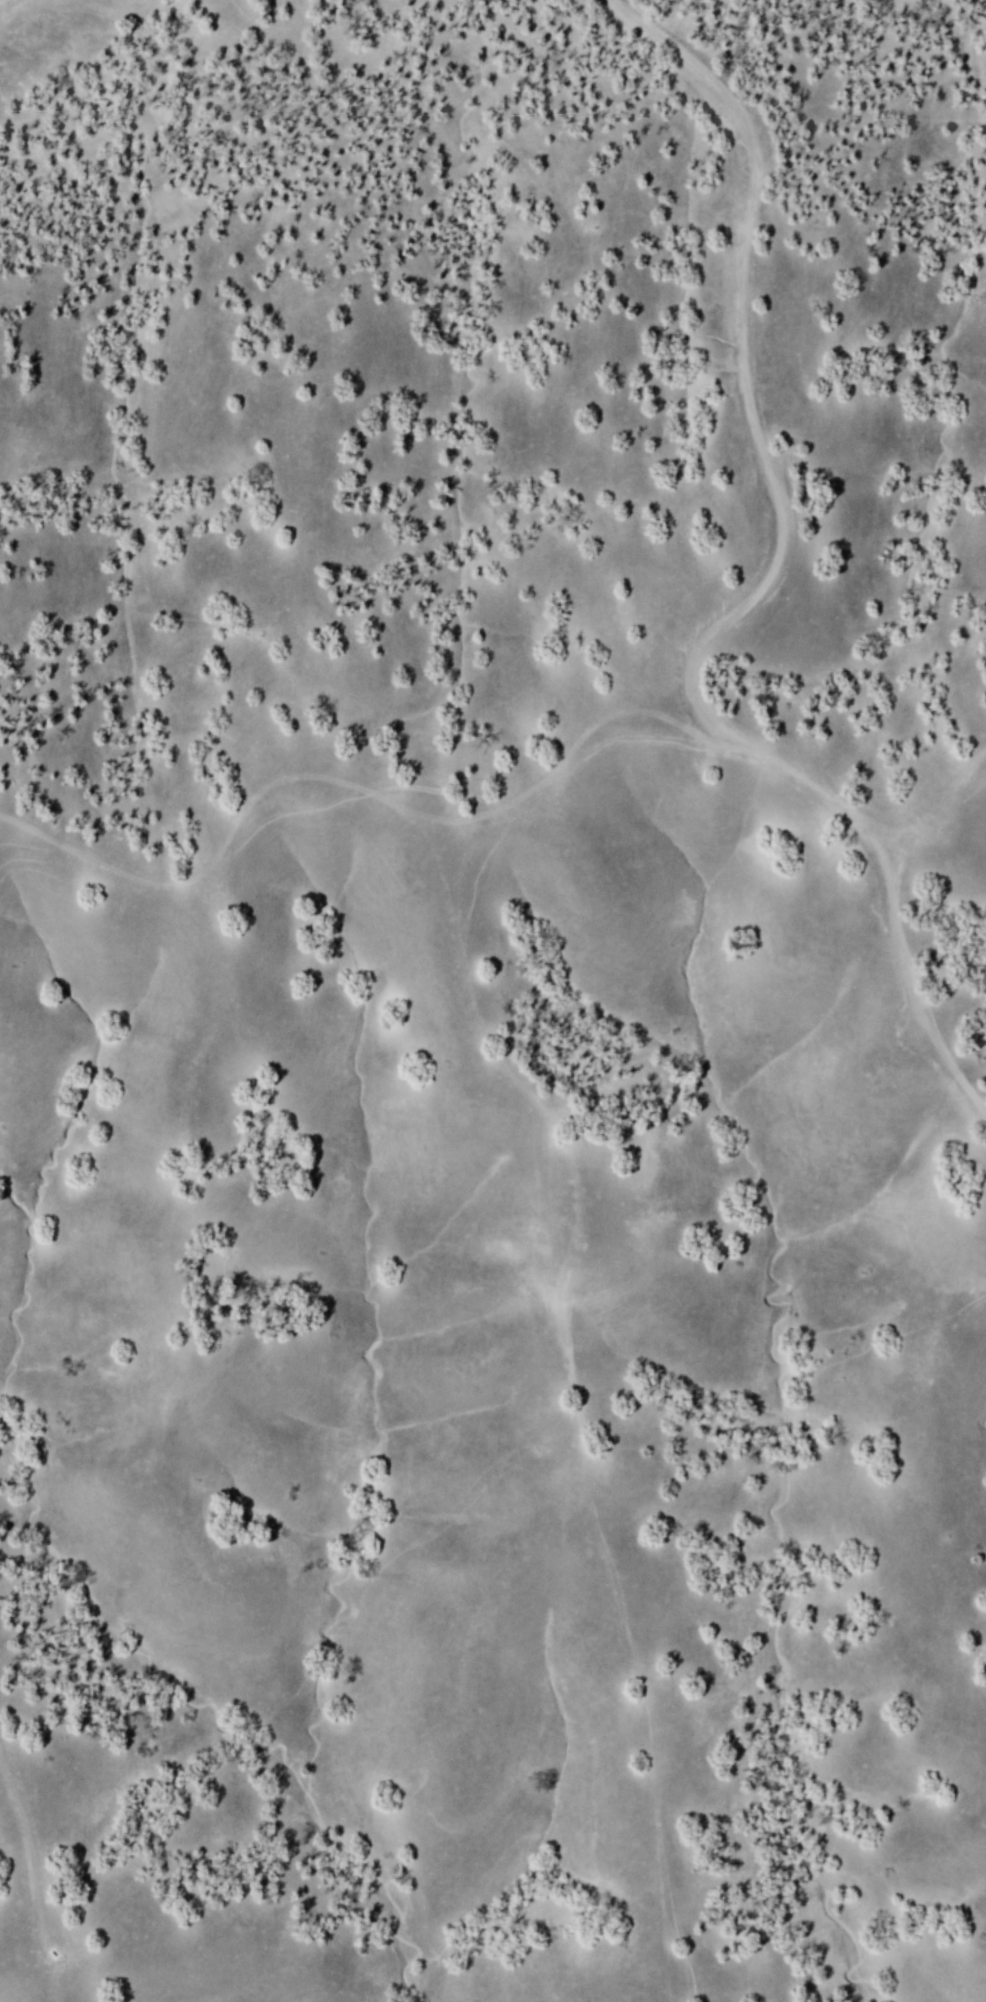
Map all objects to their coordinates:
road: (762, 585)
road: (928, 807)
road: (449, 817)
road: (575, 1394)

